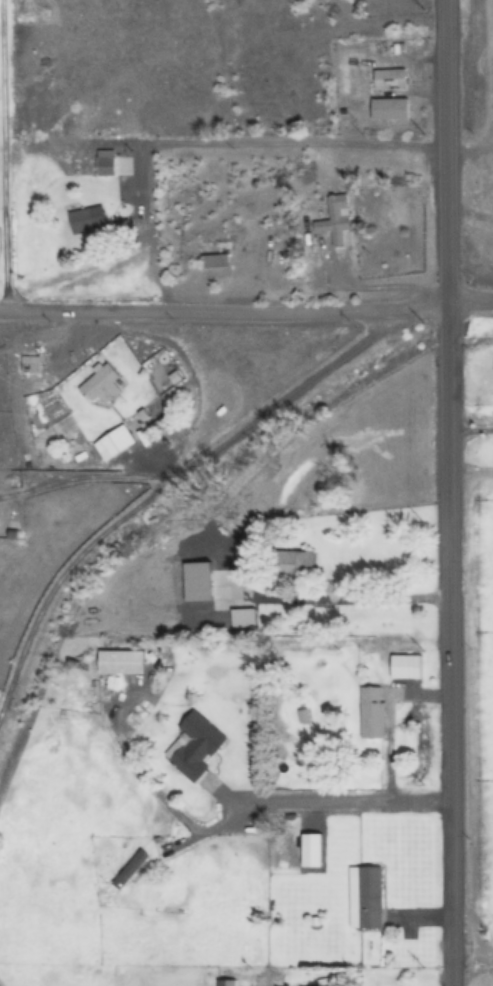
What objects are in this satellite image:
building: (389, 80)
building: (388, 109)
road: (245, 147)
building: (105, 167)
building: (84, 221)
building: (336, 221)
building: (214, 261)
road: (471, 300)
road: (224, 315)
building: (29, 364)
building: (103, 385)
building: (118, 440)
road: (449, 492)
crop: (246, 493)
road: (142, 510)
building: (289, 564)
building: (243, 617)
building: (121, 662)
building: (407, 664)
building: (372, 712)
building: (195, 748)
road: (313, 799)
building: (131, 870)
building: (369, 897)
building: (227, 983)
building: (325, 983)

